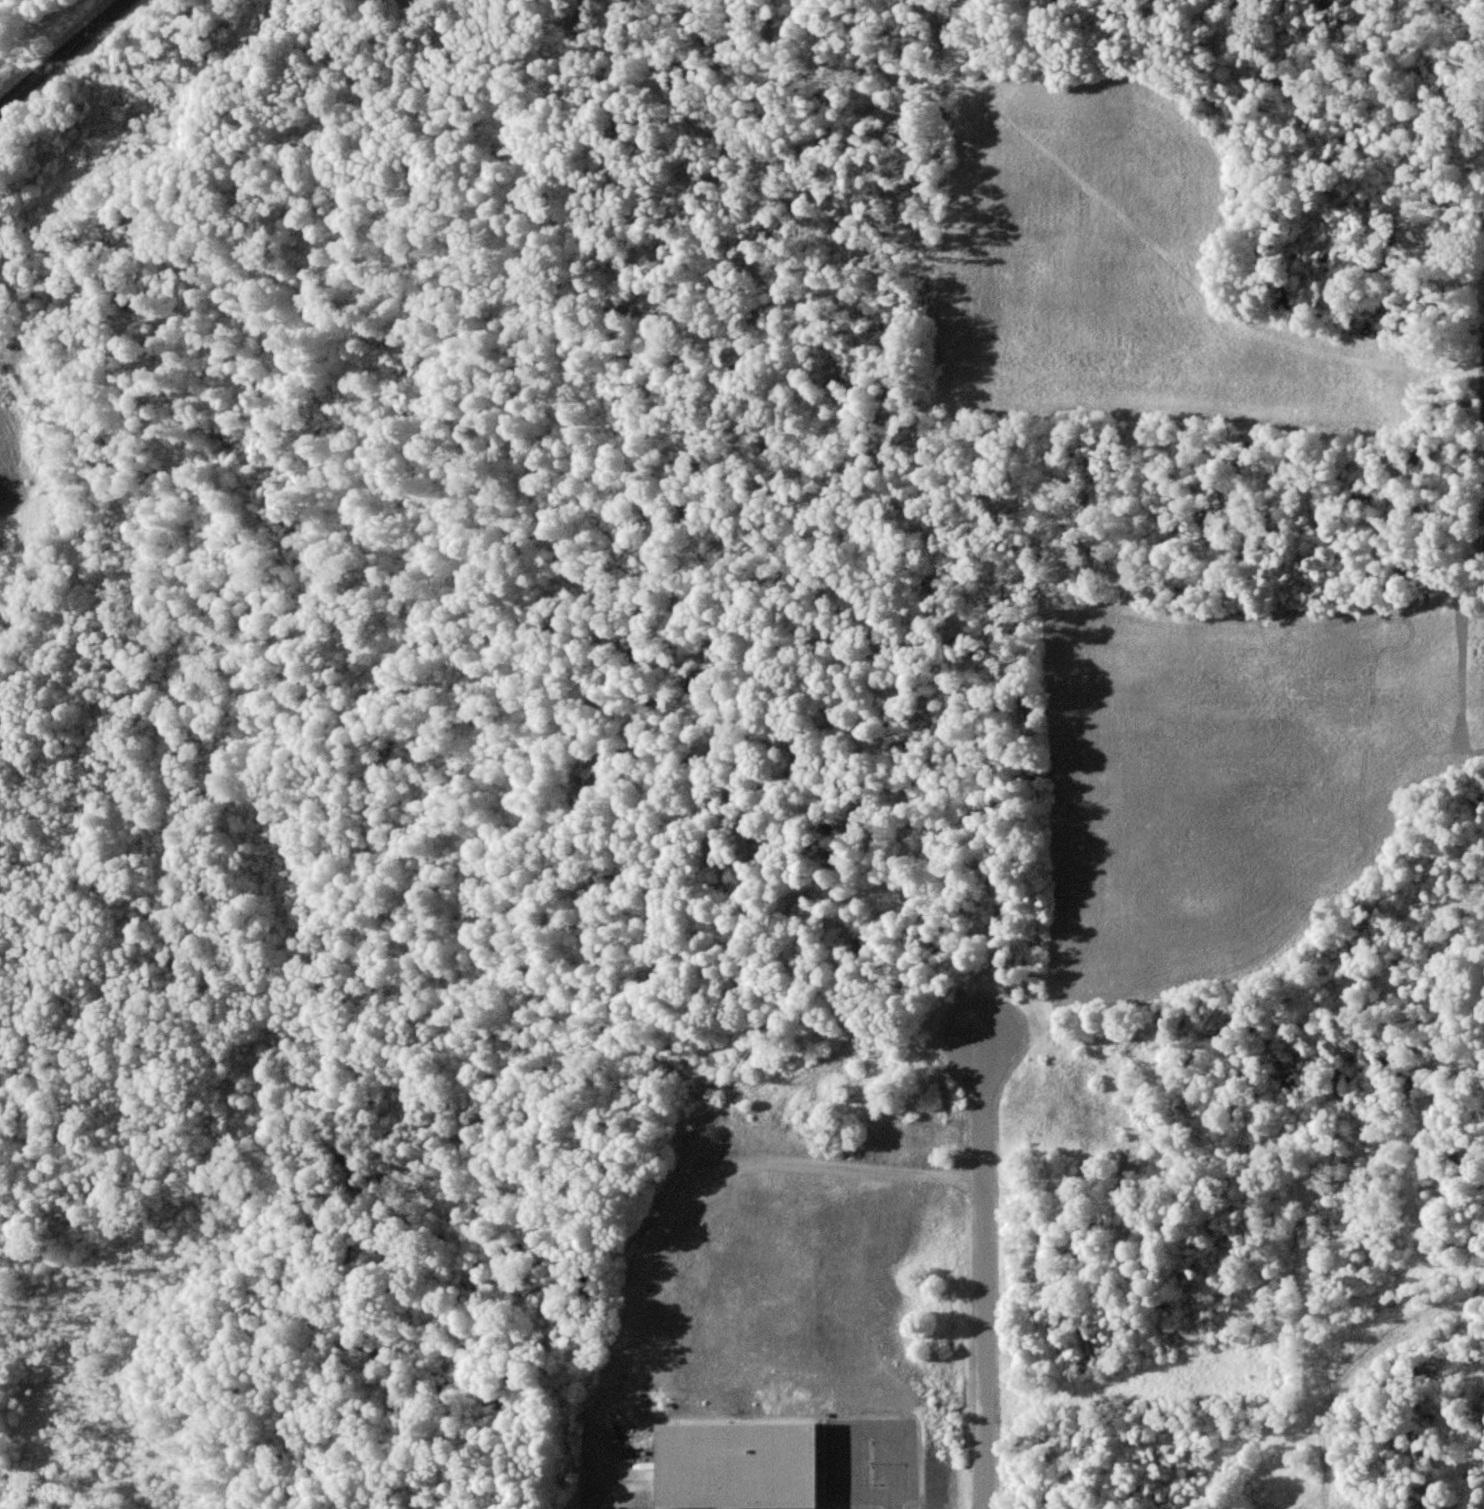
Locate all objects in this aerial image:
road: (67, 57)
road: (686, 1191)
road: (985, 1278)
road: (849, 1432)
building: (739, 1467)
road: (895, 1503)

